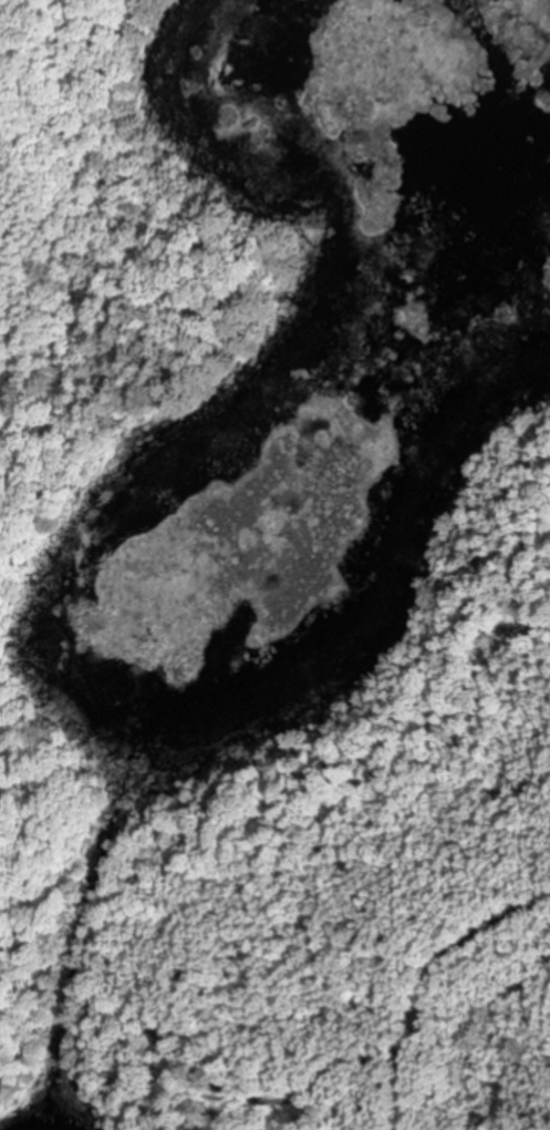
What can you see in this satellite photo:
road: (428, 980)

